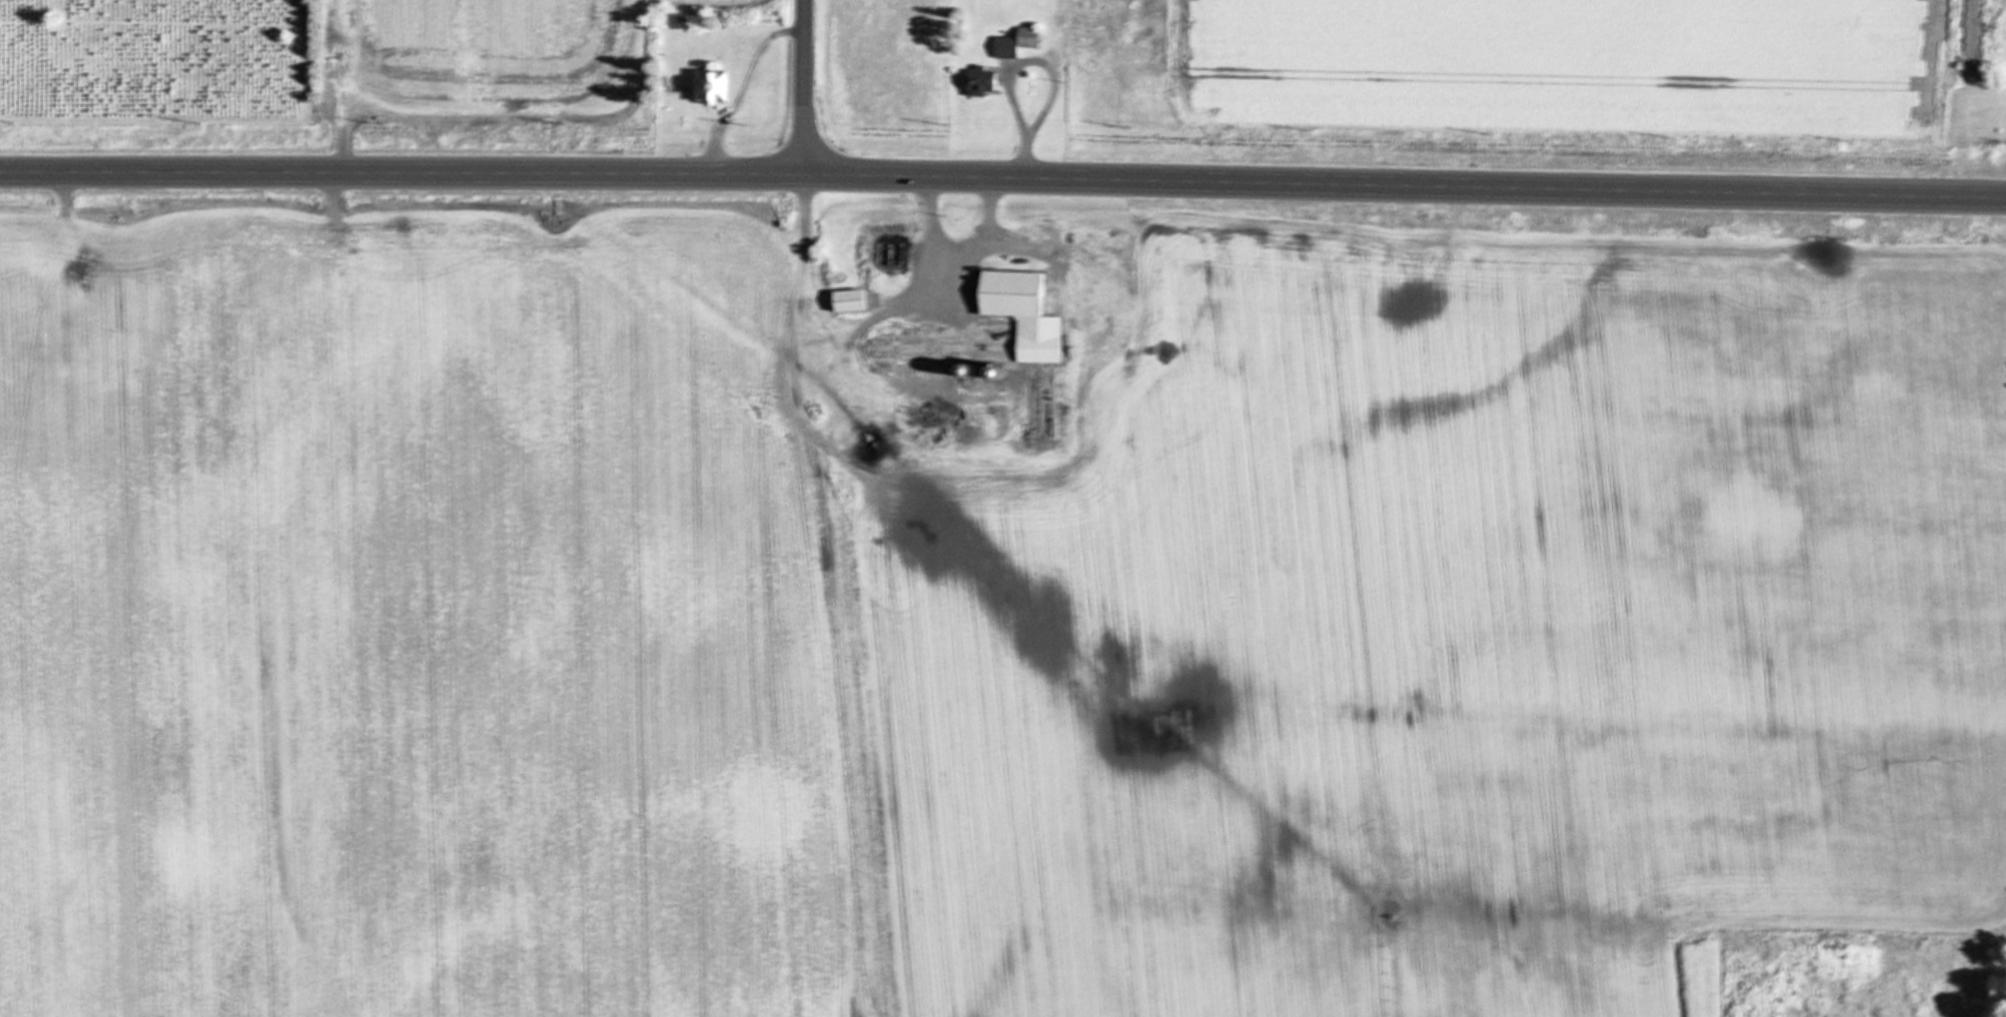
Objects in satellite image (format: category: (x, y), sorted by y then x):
building: (1018, 44)
building: (983, 82)
road: (742, 87)
road: (802, 87)
building: (716, 88)
road: (1008, 91)
road: (1047, 98)
power tower: (201, 124)
power tower: (564, 124)
power tower: (15, 125)
power tower: (385, 125)
power tower: (749, 128)
power tower: (955, 128)
power tower: (1132, 129)
power tower: (1312, 131)
power tower: (1495, 136)
power tower: (1674, 140)
power tower: (1859, 146)
road: (1024, 161)
road: (1003, 179)
road: (64, 219)
building: (892, 255)
road: (959, 255)
building: (27, 262)
building: (852, 301)
building: (989, 330)

